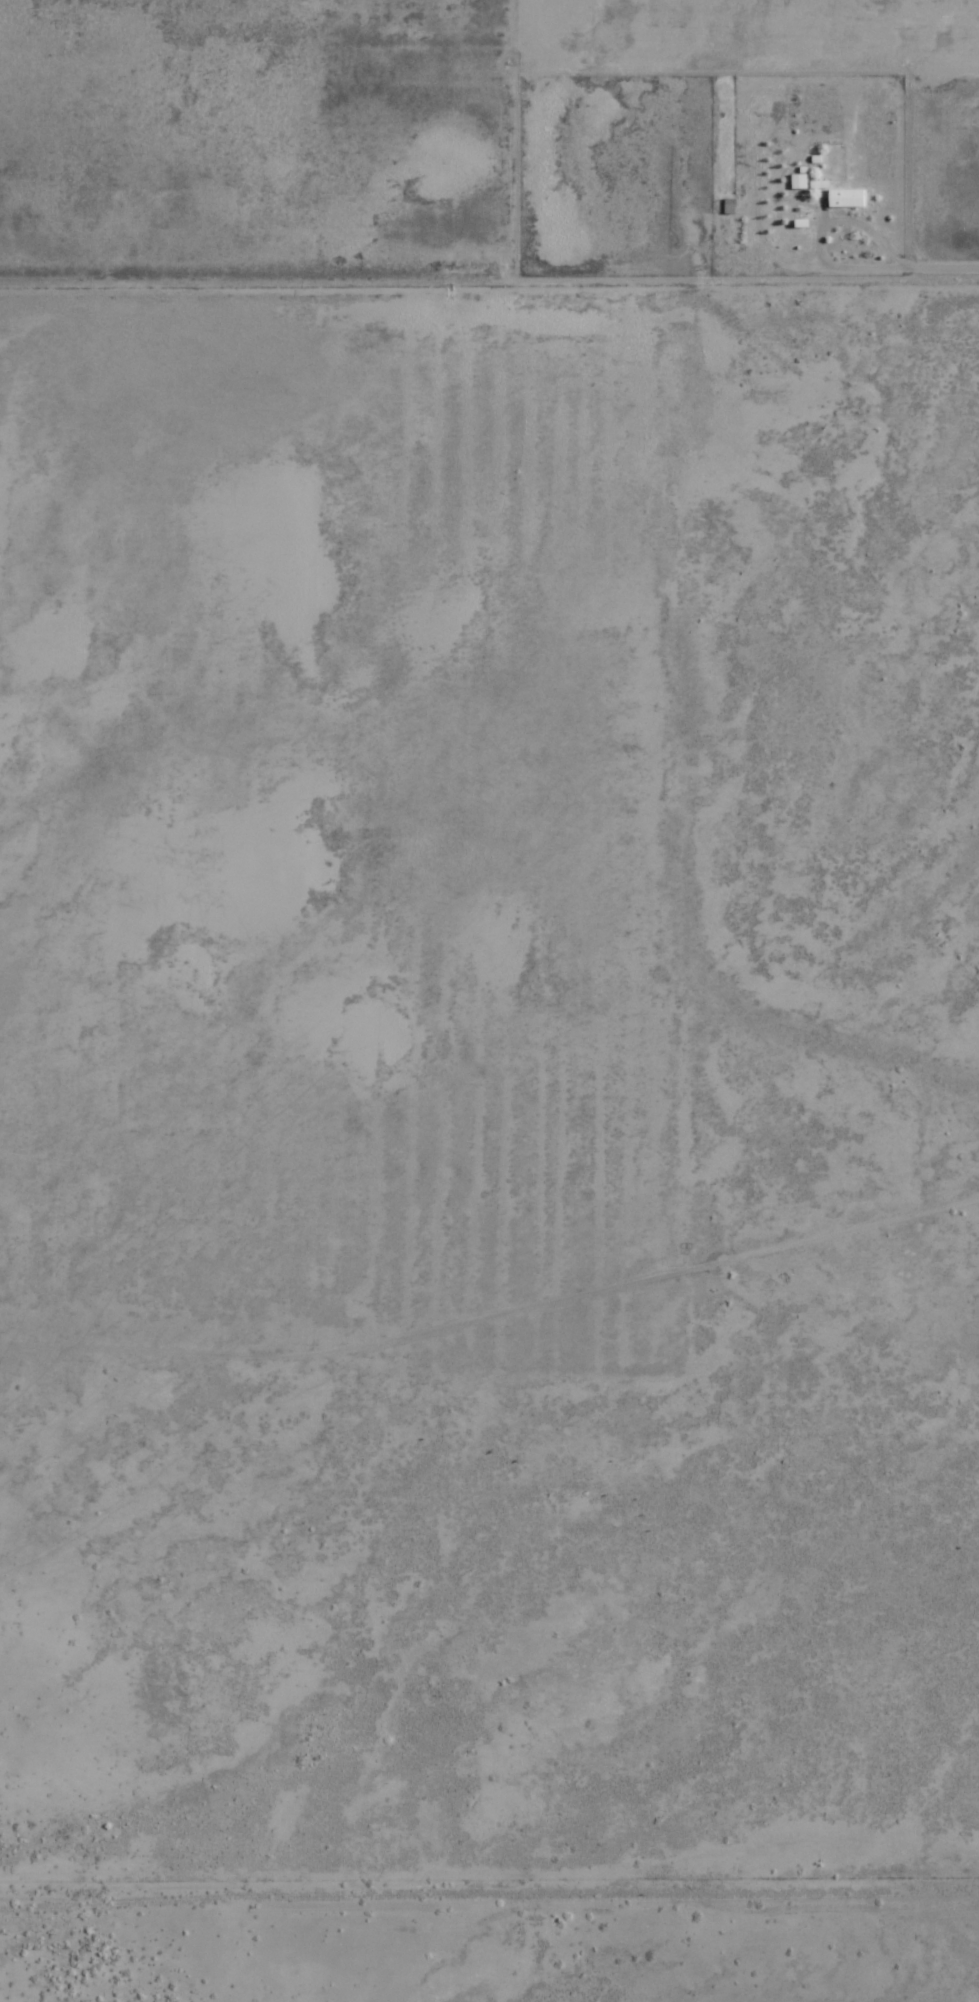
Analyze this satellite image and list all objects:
building: (799, 181)
building: (820, 184)
building: (847, 198)

